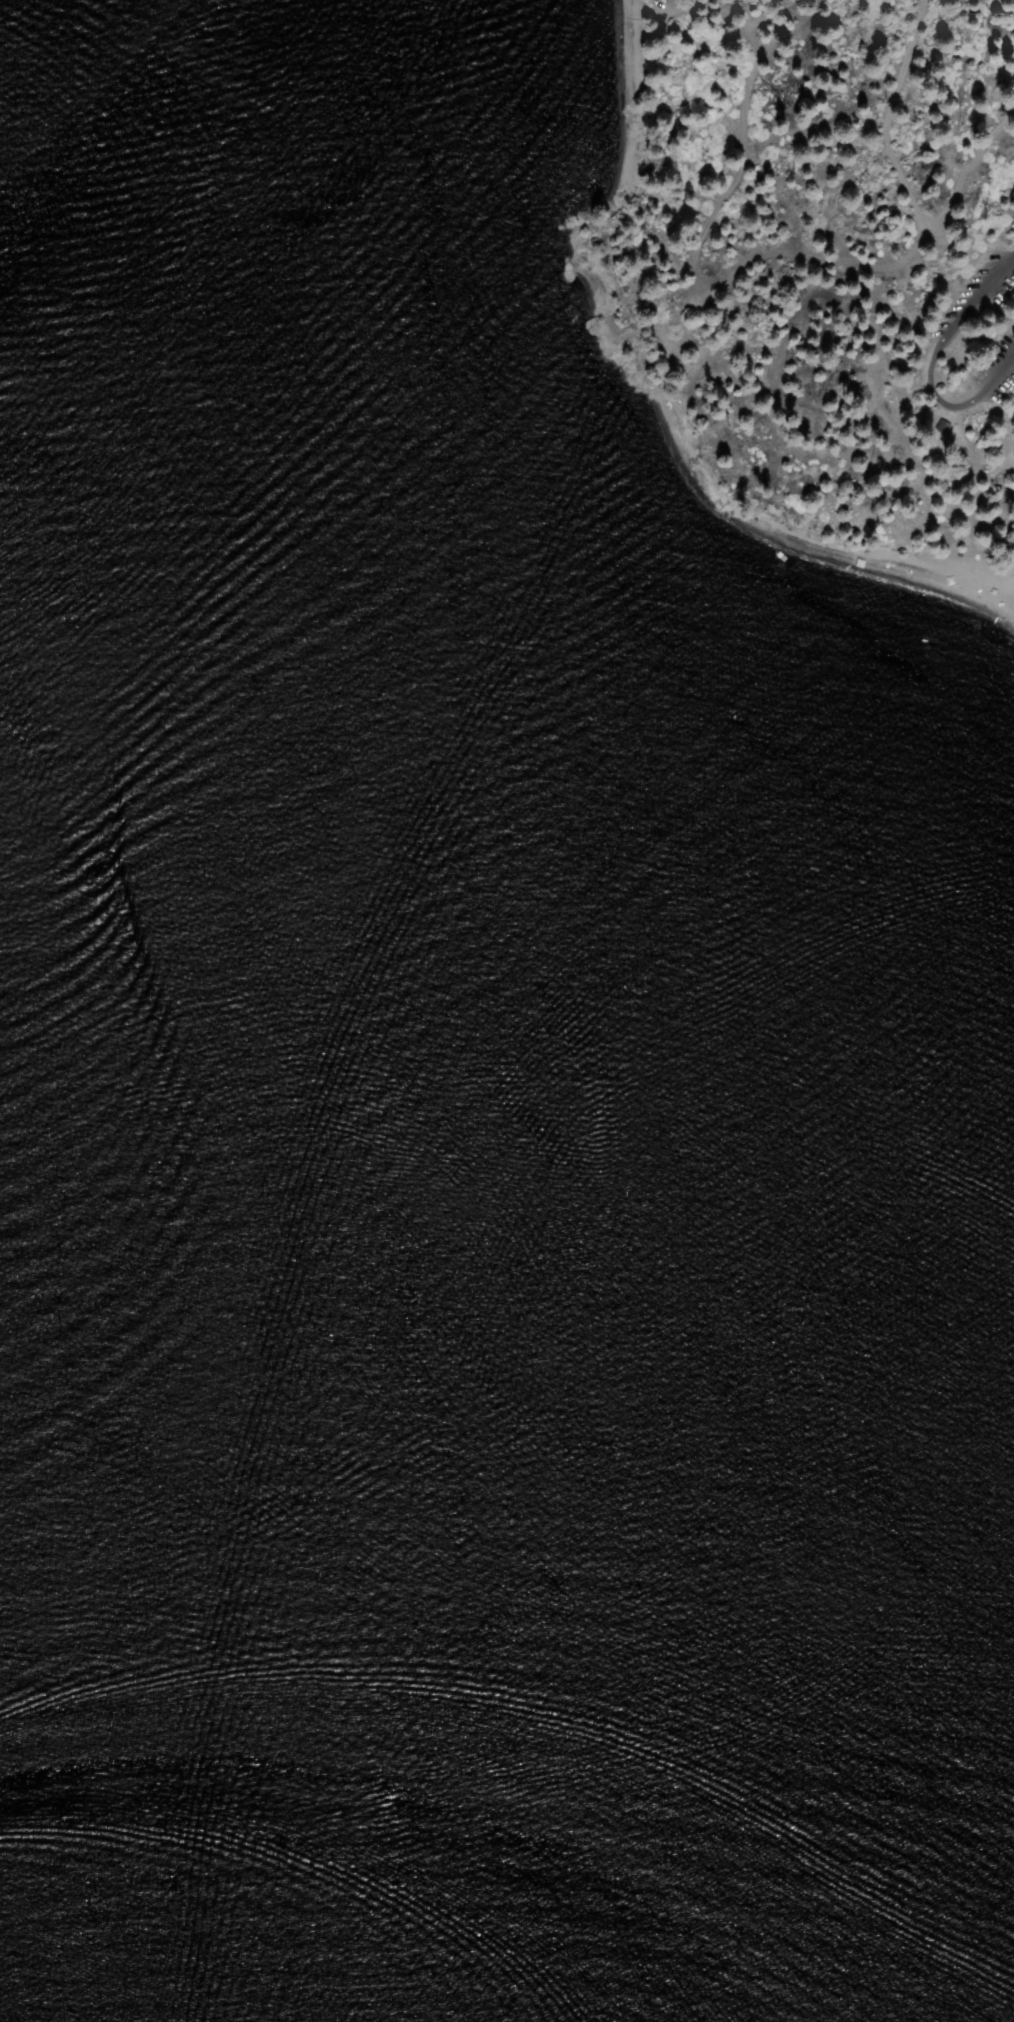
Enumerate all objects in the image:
parking lot: (972, 345)
road: (937, 370)
building: (945, 428)

